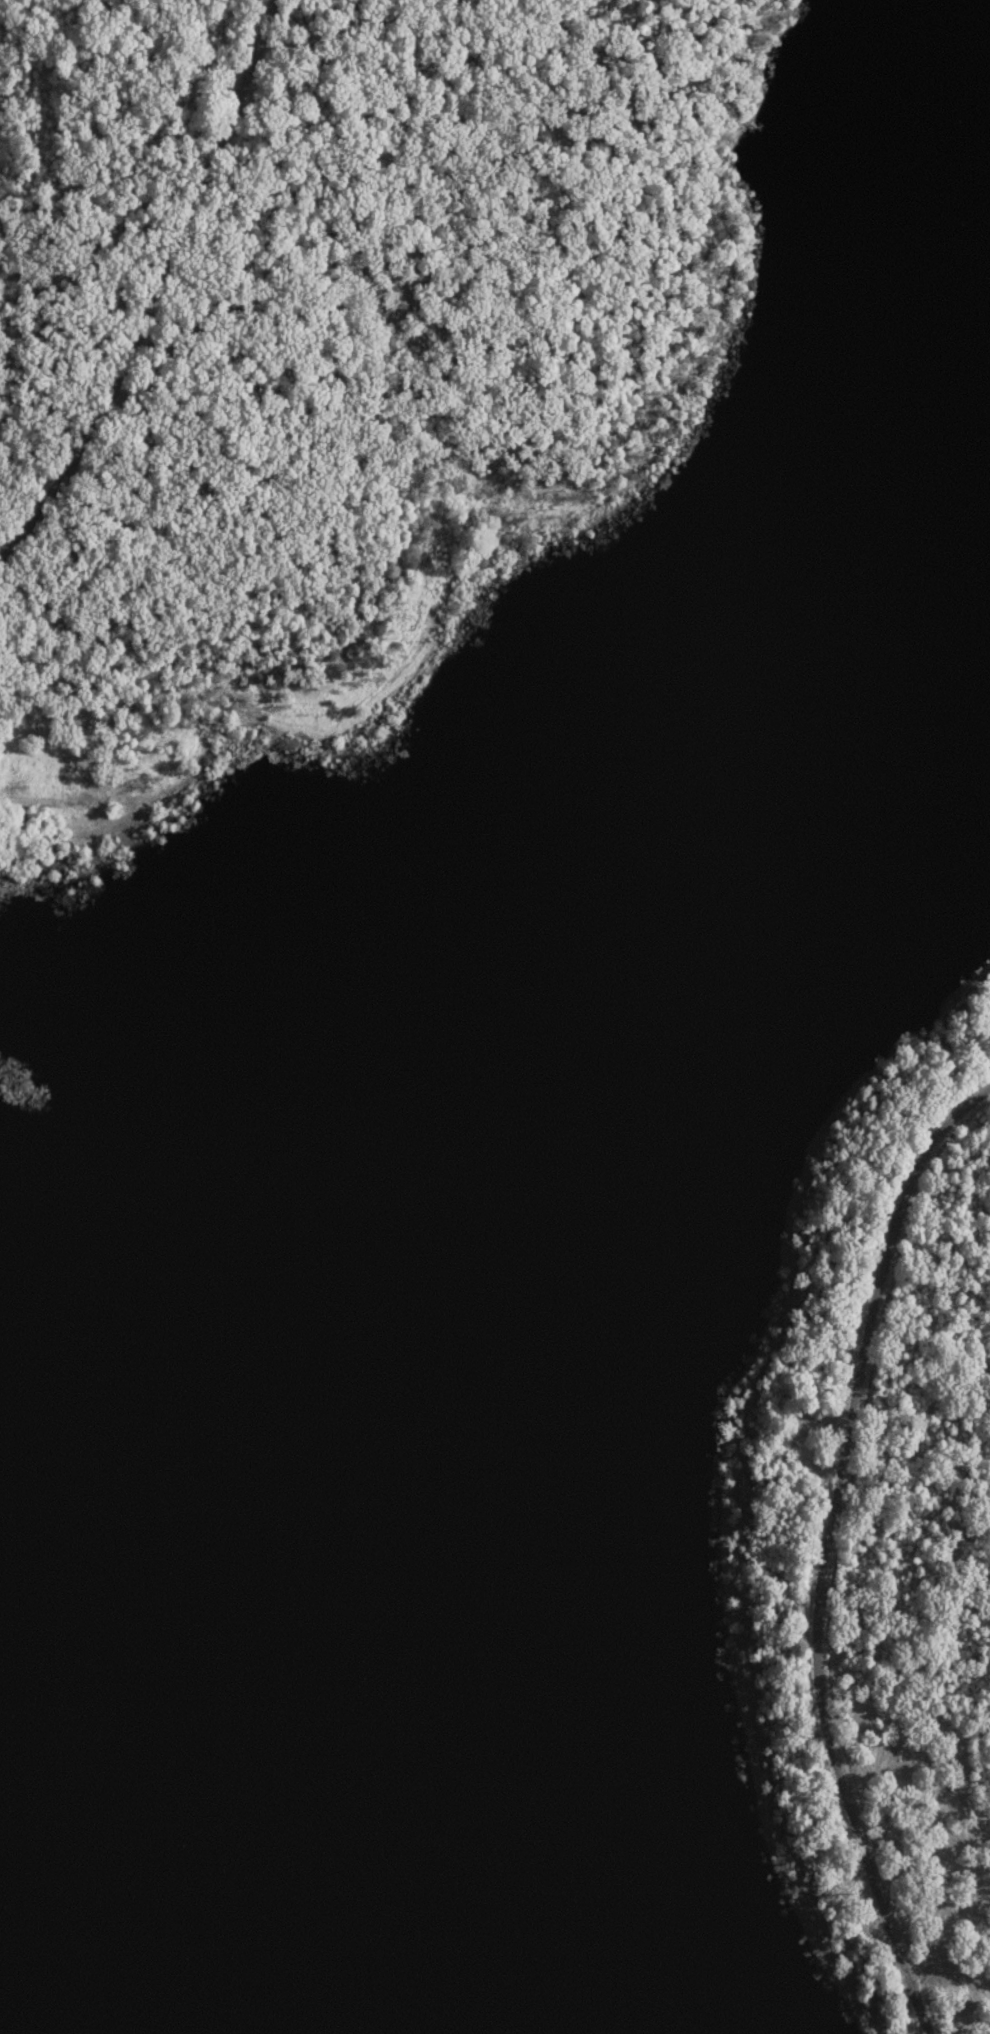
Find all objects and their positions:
road: (154, 282)
road: (826, 1551)
road: (956, 1748)

